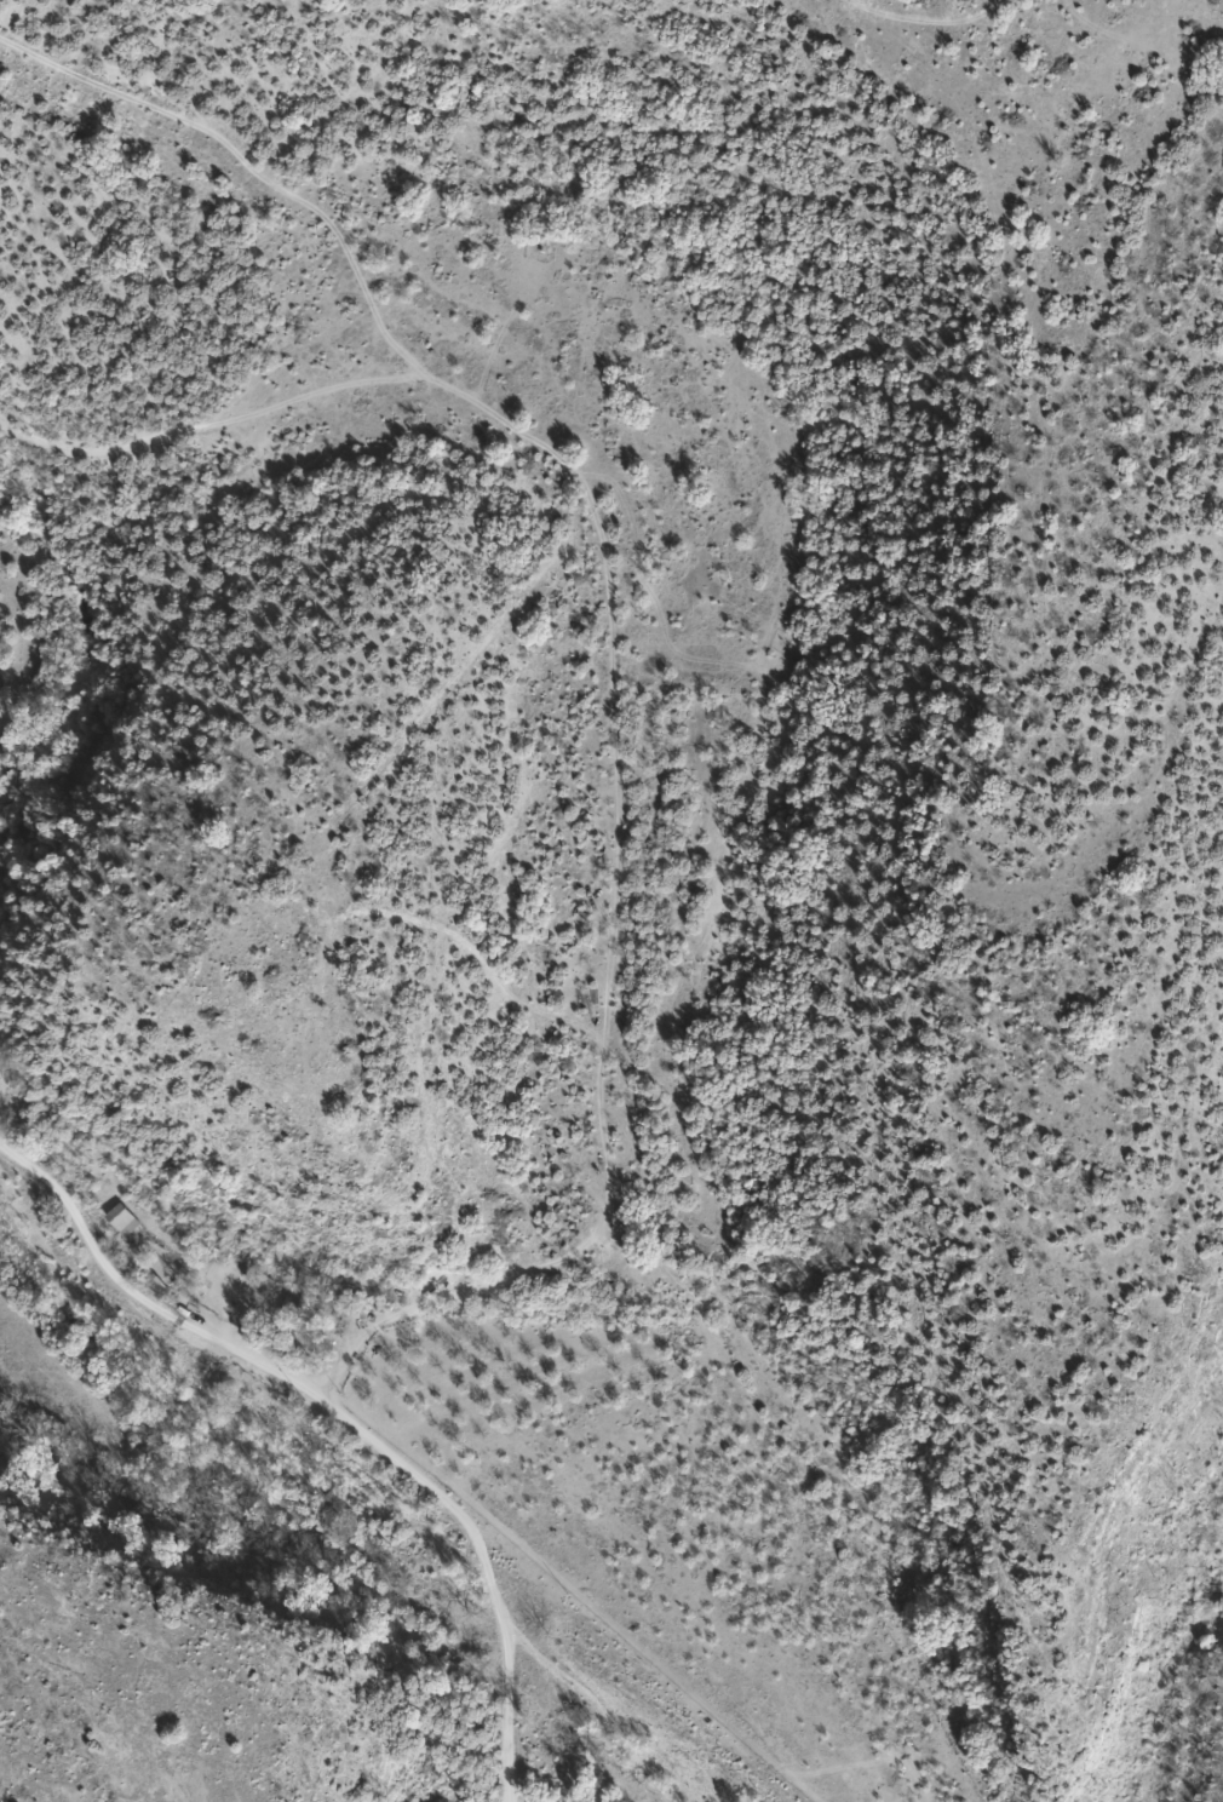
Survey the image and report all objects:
building: (116, 1219)
road: (348, 1428)

